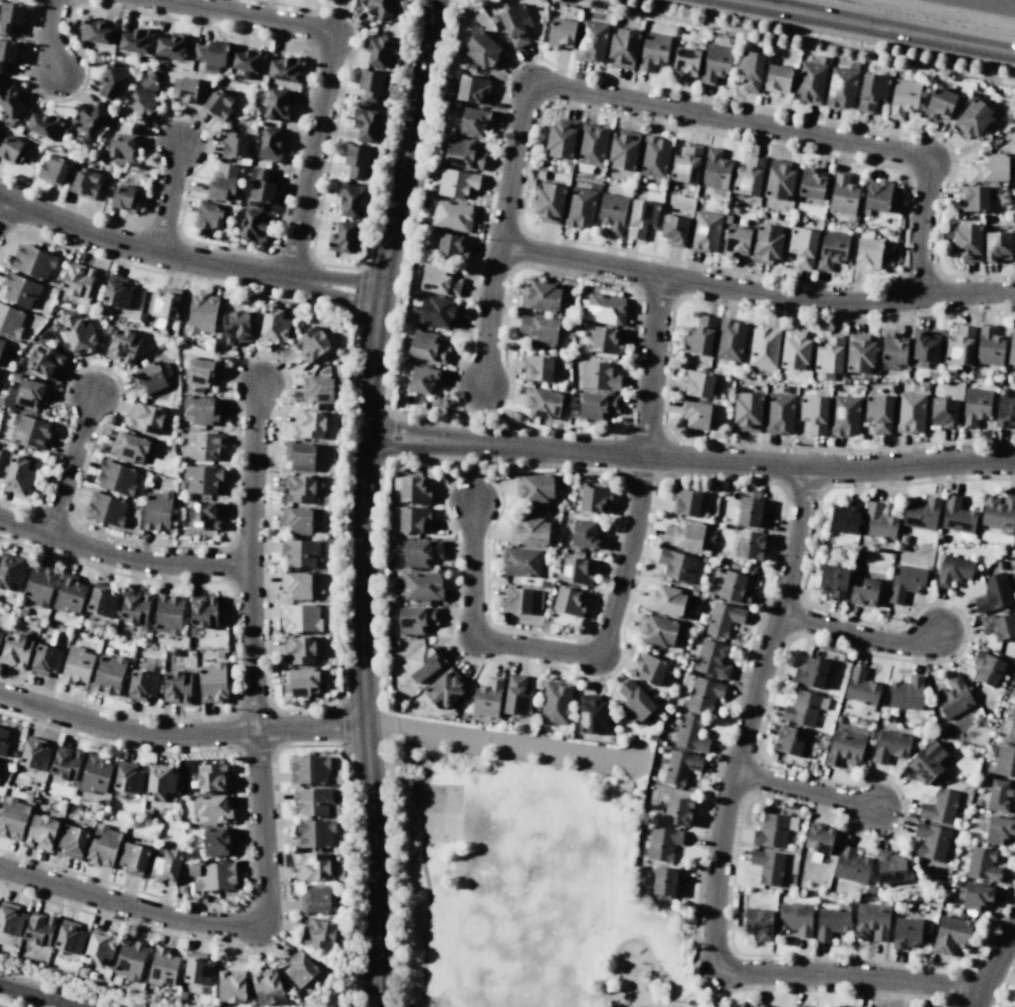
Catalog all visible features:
road: (288, 5)
crop: (970, 7)
building: (379, 9)
building: (10, 17)
road: (66, 19)
building: (515, 25)
road: (874, 27)
building: (95, 31)
building: (561, 33)
road: (49, 35)
building: (135, 41)
building: (591, 41)
building: (171, 46)
building: (623, 48)
road: (29, 49)
building: (375, 49)
building: (484, 50)
building: (653, 51)
building: (210, 53)
building: (6, 54)
building: (247, 60)
building: (685, 62)
building: (715, 63)
building: (285, 68)
building: (750, 72)
road: (327, 75)
building: (209, 79)
building: (777, 79)
building: (110, 81)
building: (810, 82)
building: (369, 85)
building: (842, 86)
road: (80, 88)
building: (471, 88)
building: (185, 90)
road: (307, 90)
building: (871, 92)
building: (145, 95)
building: (903, 98)
building: (10, 100)
building: (940, 103)
building: (216, 104)
building: (276, 105)
building: (89, 118)
road: (719, 118)
building: (972, 119)
road: (160, 121)
building: (474, 122)
building: (363, 123)
building: (11, 124)
building: (44, 124)
building: (377, 135)
building: (561, 139)
building: (269, 144)
building: (591, 145)
building: (234, 147)
building: (122, 148)
building: (11, 149)
building: (623, 151)
building: (462, 153)
building: (654, 157)
building: (355, 161)
building: (686, 164)
building: (989, 168)
building: (715, 169)
building: (53, 170)
road: (192, 172)
building: (749, 176)
building: (779, 180)
building: (221, 181)
building: (84, 183)
building: (456, 183)
building: (811, 183)
building: (260, 184)
building: (843, 194)
building: (877, 196)
building: (124, 198)
building: (348, 199)
building: (972, 199)
road: (168, 200)
building: (250, 203)
building: (549, 203)
road: (3, 205)
building: (580, 207)
building: (612, 213)
building: (207, 215)
building: (452, 215)
road: (100, 217)
building: (641, 219)
building: (253, 226)
building: (674, 231)
building: (705, 232)
building: (341, 238)
building: (736, 241)
building: (967, 242)
building: (766, 244)
building: (451, 246)
building: (997, 246)
building: (802, 247)
building: (832, 249)
road: (151, 252)
building: (868, 253)
building: (32, 261)
road: (329, 265)
road: (336, 279)
building: (77, 280)
building: (438, 280)
building: (19, 289)
road: (368, 291)
building: (116, 292)
road: (334, 293)
road: (755, 294)
building: (540, 296)
building: (164, 304)
building: (285, 305)
road: (344, 311)
building: (437, 312)
building: (200, 313)
road: (492, 314)
building: (141, 316)
building: (10, 320)
building: (273, 324)
building: (296, 325)
building: (235, 326)
building: (53, 327)
building: (539, 330)
building: (79, 336)
building: (700, 336)
building: (605, 340)
building: (730, 340)
building: (1, 344)
building: (309, 344)
building: (1011, 344)
building: (122, 345)
building: (926, 346)
building: (960, 346)
building: (989, 346)
building: (427, 347)
building: (764, 347)
building: (893, 348)
building: (794, 350)
building: (859, 353)
building: (829, 354)
building: (19, 361)
building: (44, 361)
road: (281, 364)
building: (537, 368)
building: (200, 372)
building: (598, 376)
building: (14, 377)
building: (148, 378)
building: (423, 379)
road: (118, 382)
building: (699, 384)
building: (317, 389)
building: (30, 393)
building: (9, 397)
building: (542, 402)
building: (597, 405)
building: (975, 406)
building: (200, 409)
building: (1005, 411)
building: (746, 412)
building: (910, 412)
building: (943, 412)
building: (779, 413)
building: (879, 413)
building: (695, 414)
building: (814, 414)
building: (844, 415)
building: (145, 418)
building: (308, 423)
building: (28, 431)
building: (203, 445)
building: (129, 447)
road: (56, 453)
building: (299, 456)
road: (689, 462)
road: (69, 464)
building: (18, 474)
building: (115, 477)
building: (201, 478)
building: (182, 485)
building: (533, 487)
building: (297, 488)
building: (410, 489)
building: (326, 498)
building: (594, 499)
road: (362, 500)
building: (685, 502)
building: (105, 509)
building: (156, 510)
building: (998, 512)
building: (752, 513)
building: (921, 513)
building: (203, 515)
building: (957, 516)
building: (844, 517)
building: (413, 519)
building: (296, 520)
building: (878, 522)
building: (529, 531)
building: (585, 534)
building: (683, 535)
building: (329, 540)
building: (751, 546)
road: (189, 547)
building: (299, 552)
building: (420, 552)
road: (249, 556)
road: (121, 557)
building: (520, 561)
building: (677, 565)
building: (575, 570)
building: (953, 570)
building: (10, 572)
building: (833, 581)
building: (905, 582)
building: (39, 585)
building: (296, 585)
building: (418, 586)
building: (316, 588)
building: (734, 588)
road: (267, 592)
building: (993, 593)
building: (68, 594)
road: (618, 596)
building: (536, 599)
building: (101, 600)
building: (516, 600)
building: (568, 601)
building: (665, 601)
building: (134, 607)
building: (202, 611)
building: (168, 614)
building: (300, 618)
building: (416, 619)
building: (723, 619)
building: (35, 623)
building: (998, 626)
building: (657, 630)
building: (0, 634)
road: (859, 638)
building: (297, 649)
building: (16, 650)
building: (107, 650)
road: (234, 650)
building: (219, 654)
building: (46, 656)
building: (712, 659)
building: (423, 662)
building: (76, 665)
building: (649, 669)
building: (986, 669)
building: (811, 672)
building: (108, 675)
building: (300, 682)
building: (211, 683)
building: (142, 684)
building: (177, 686)
road: (340, 686)
building: (861, 687)
building: (444, 689)
building: (906, 693)
building: (703, 694)
building: (517, 696)
building: (953, 696)
building: (486, 698)
building: (634, 701)
building: (555, 703)
building: (802, 708)
building: (591, 714)
road: (343, 725)
road: (381, 725)
building: (1012, 726)
road: (180, 734)
building: (690, 734)
building: (3, 741)
building: (790, 742)
road: (513, 743)
building: (890, 746)
parking lot: (506, 747)
building: (844, 749)
building: (34, 753)
building: (1005, 761)
building: (65, 763)
building: (925, 764)
building: (680, 767)
building: (308, 770)
building: (94, 774)
building: (127, 777)
building: (211, 777)
building: (337, 779)
building: (159, 783)
road: (806, 793)
building: (1001, 796)
building: (311, 800)
building: (939, 807)
building: (213, 809)
building: (679, 810)
park: (443, 814)
building: (12, 818)
building: (997, 829)
road: (279, 830)
building: (773, 830)
building: (40, 831)
building: (313, 833)
road: (245, 834)
building: (818, 838)
building: (71, 840)
building: (216, 841)
building: (930, 841)
building: (340, 843)
building: (662, 843)
road: (720, 844)
building: (102, 846)
road: (422, 856)
building: (133, 859)
building: (982, 864)
building: (165, 866)
building: (312, 866)
building: (767, 866)
building: (851, 866)
building: (890, 868)
building: (338, 871)
park: (520, 872)
building: (212, 875)
building: (667, 880)
building: (181, 889)
building: (974, 897)
building: (316, 898)
building: (10, 918)
building: (795, 918)
building: (872, 920)
building: (830, 923)
building: (758, 924)
road: (222, 925)
building: (38, 929)
building: (906, 932)
building: (318, 933)
building: (950, 934)
building: (69, 937)
building: (99, 947)
road: (651, 957)
building: (129, 959)
road: (994, 964)
building: (162, 967)
building: (197, 968)
building: (298, 968)
building: (82, 972)
building: (115, 980)
building: (230, 986)
building: (265, 986)
road: (78, 987)
road: (643, 993)
building: (181, 995)
road: (35, 996)
building: (302, 1000)
building: (760, 1005)
building: (215, 1006)
road: (667, 1006)
building: (797, 1006)

